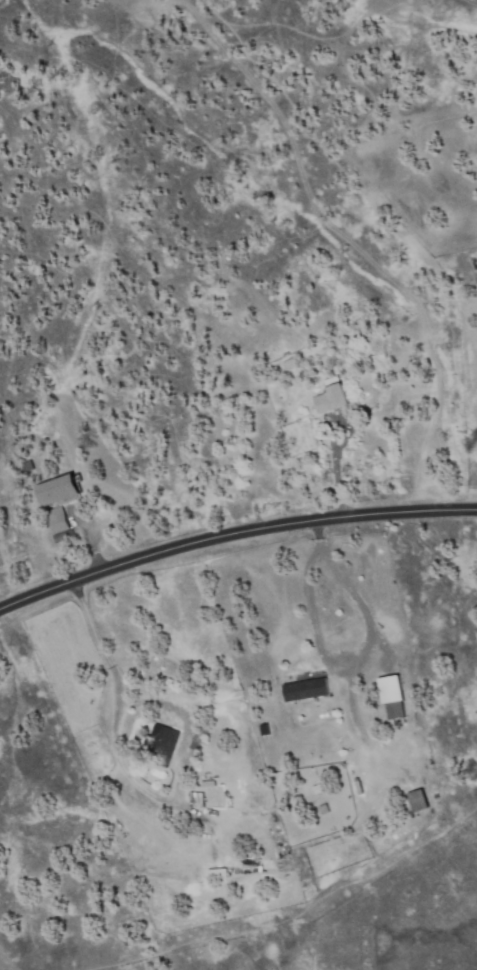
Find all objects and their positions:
building: (291, 363)
building: (264, 373)
building: (332, 397)
building: (28, 466)
building: (59, 490)
building: (57, 520)
road: (233, 534)
building: (62, 537)
building: (306, 690)
building: (393, 697)
building: (204, 727)
building: (264, 730)
building: (160, 745)
building: (314, 791)
building: (198, 799)
building: (418, 801)
building: (322, 811)
building: (217, 873)

